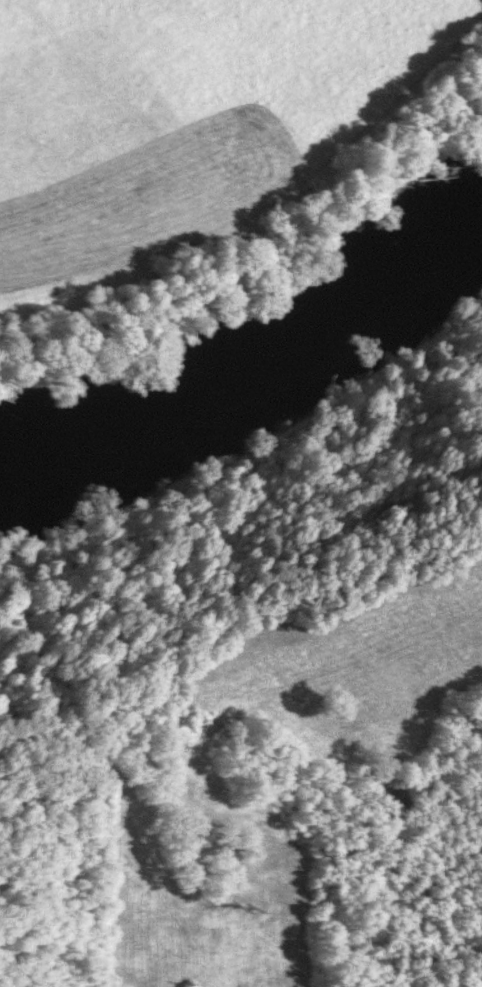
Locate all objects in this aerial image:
river: (257, 395)

